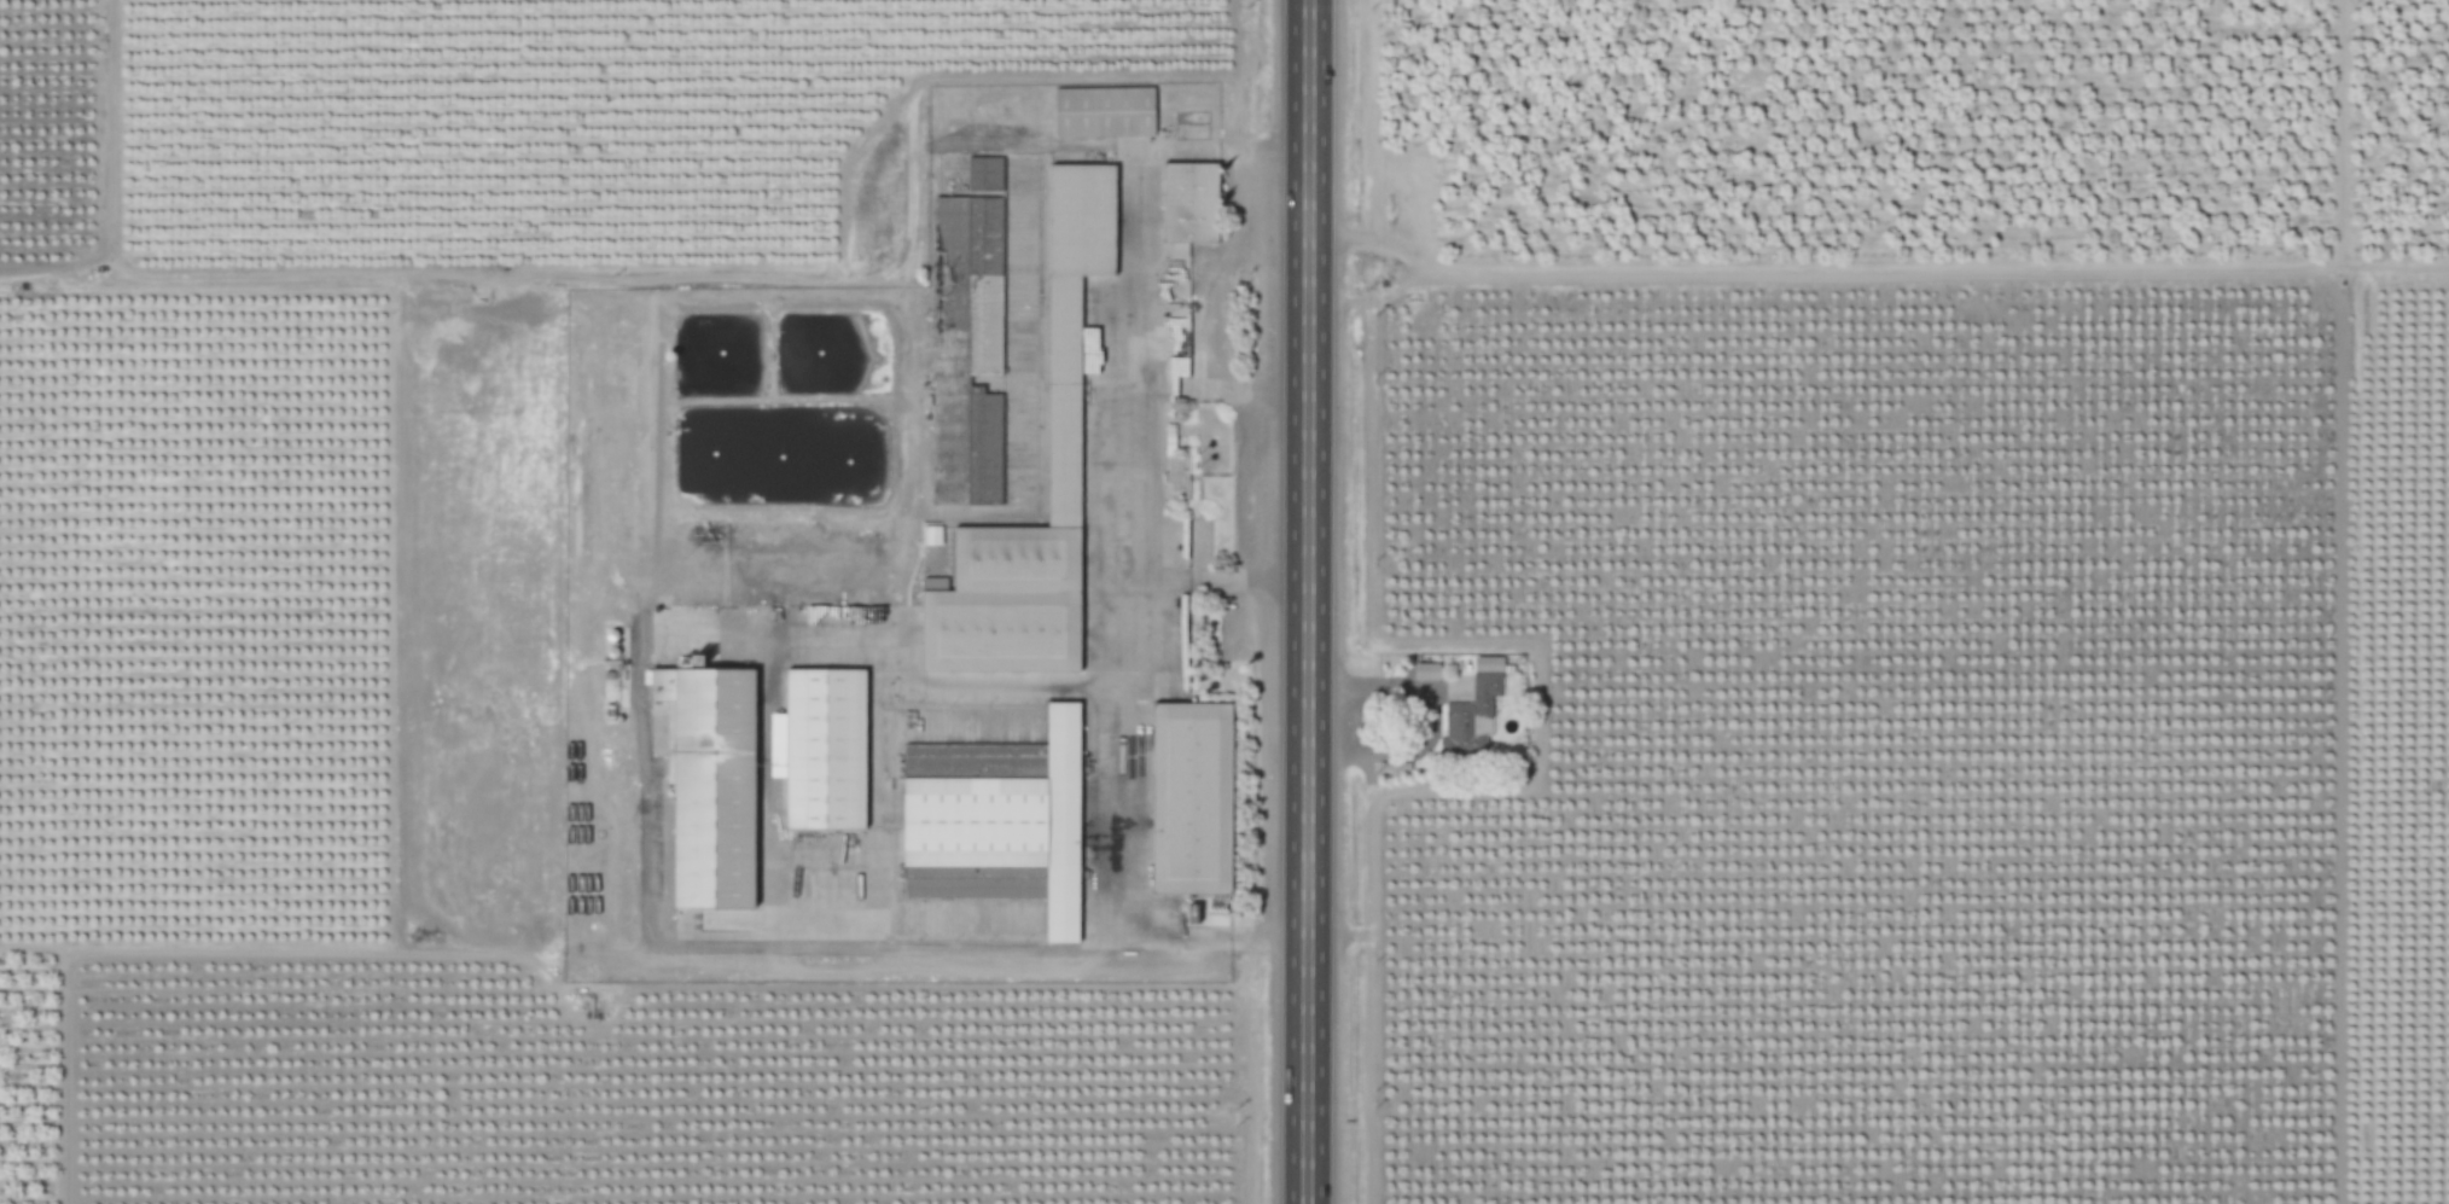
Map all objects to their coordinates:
building: (1104, 112)
building: (984, 174)
building: (1188, 205)
building: (1076, 264)
road: (1874, 273)
building: (962, 356)
building: (1175, 478)
building: (932, 535)
road: (1305, 601)
building: (692, 664)
building: (1488, 664)
building: (1426, 673)
building: (1471, 720)
road: (1435, 721)
building: (821, 750)
road: (1104, 751)
building: (711, 787)
building: (1000, 814)

